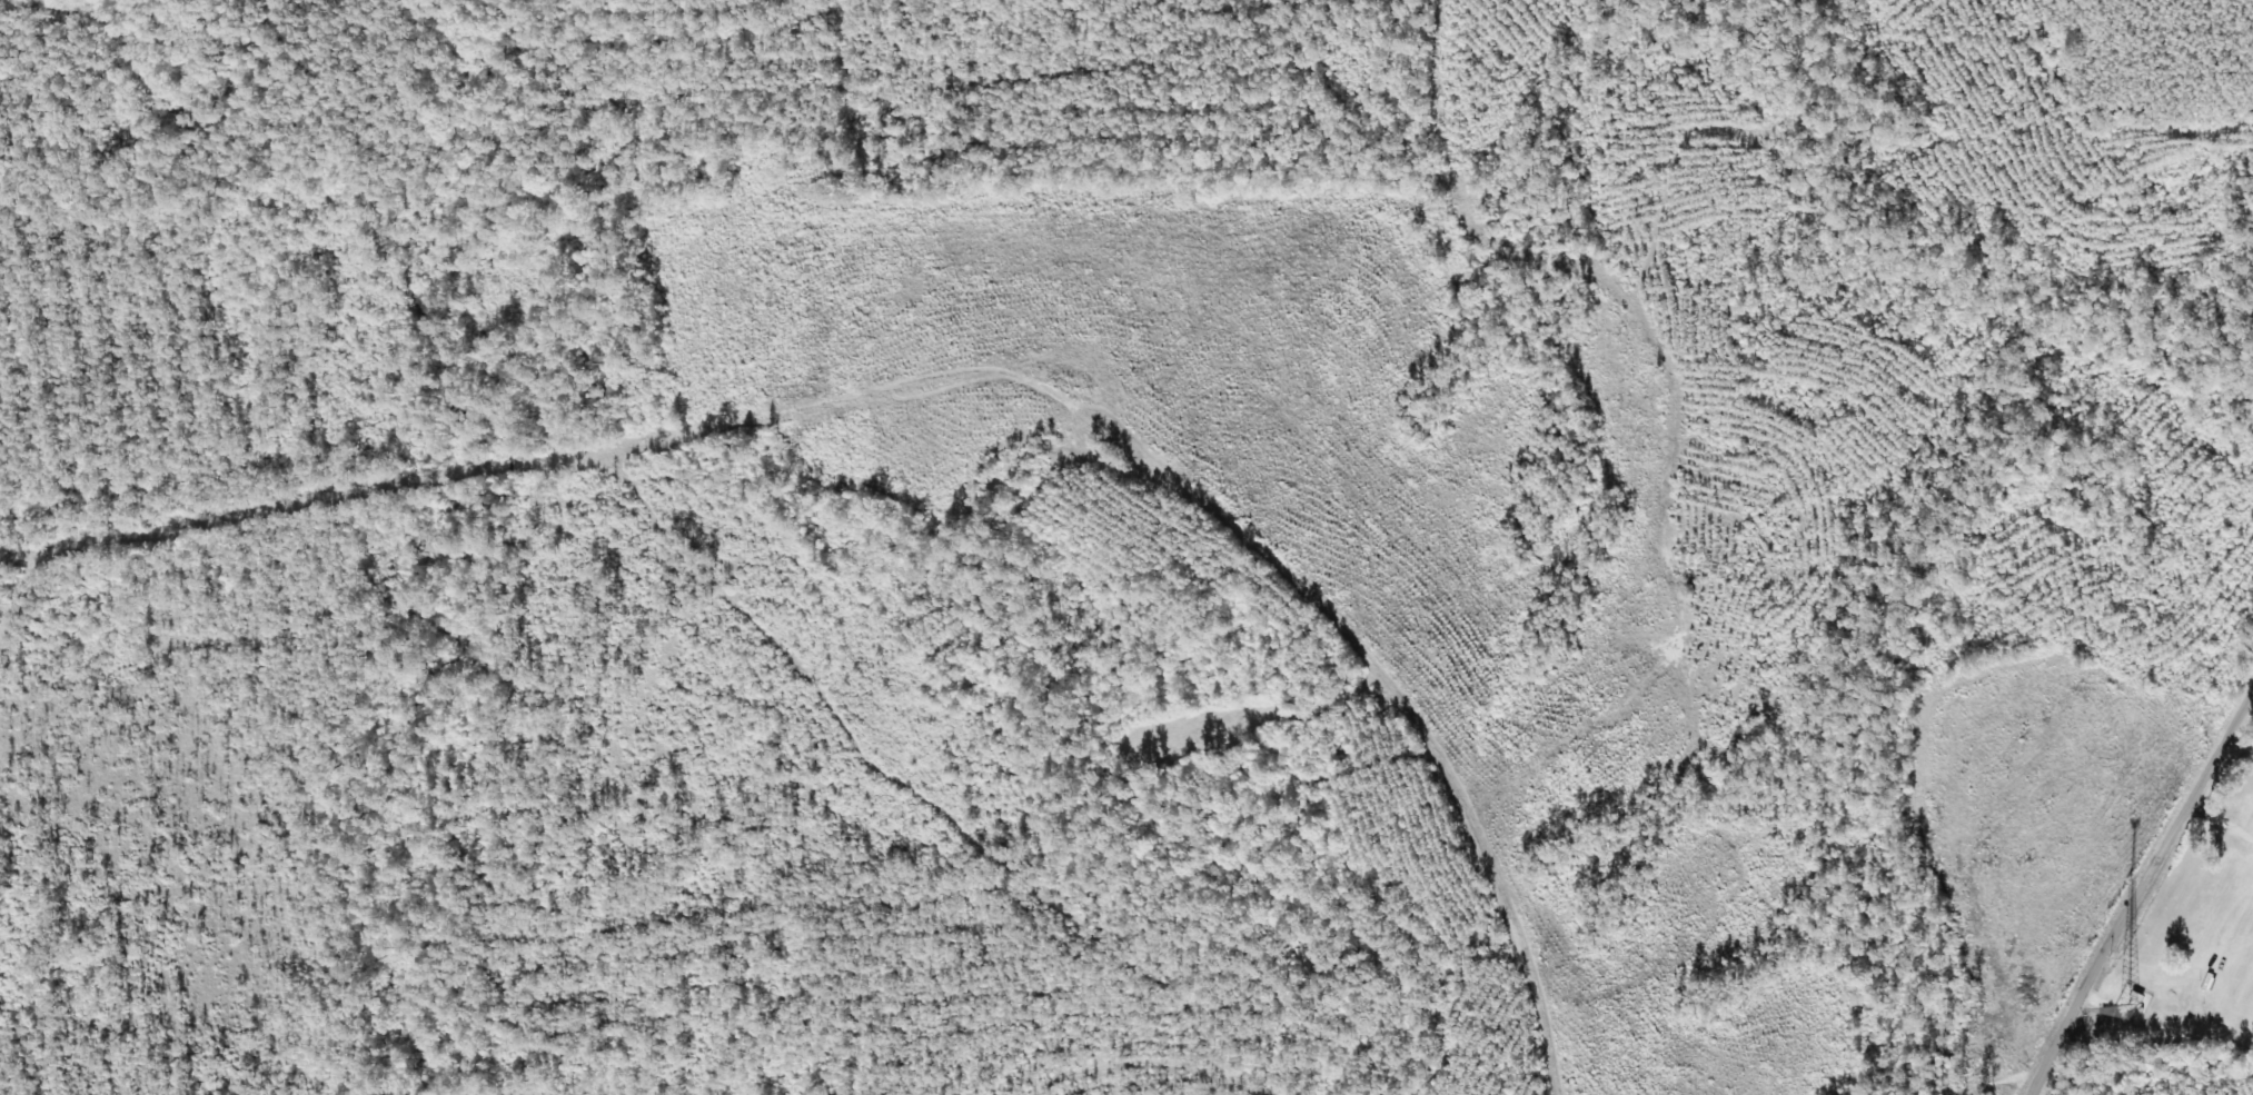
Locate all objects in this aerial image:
road: (1378, 756)
road: (2130, 842)

